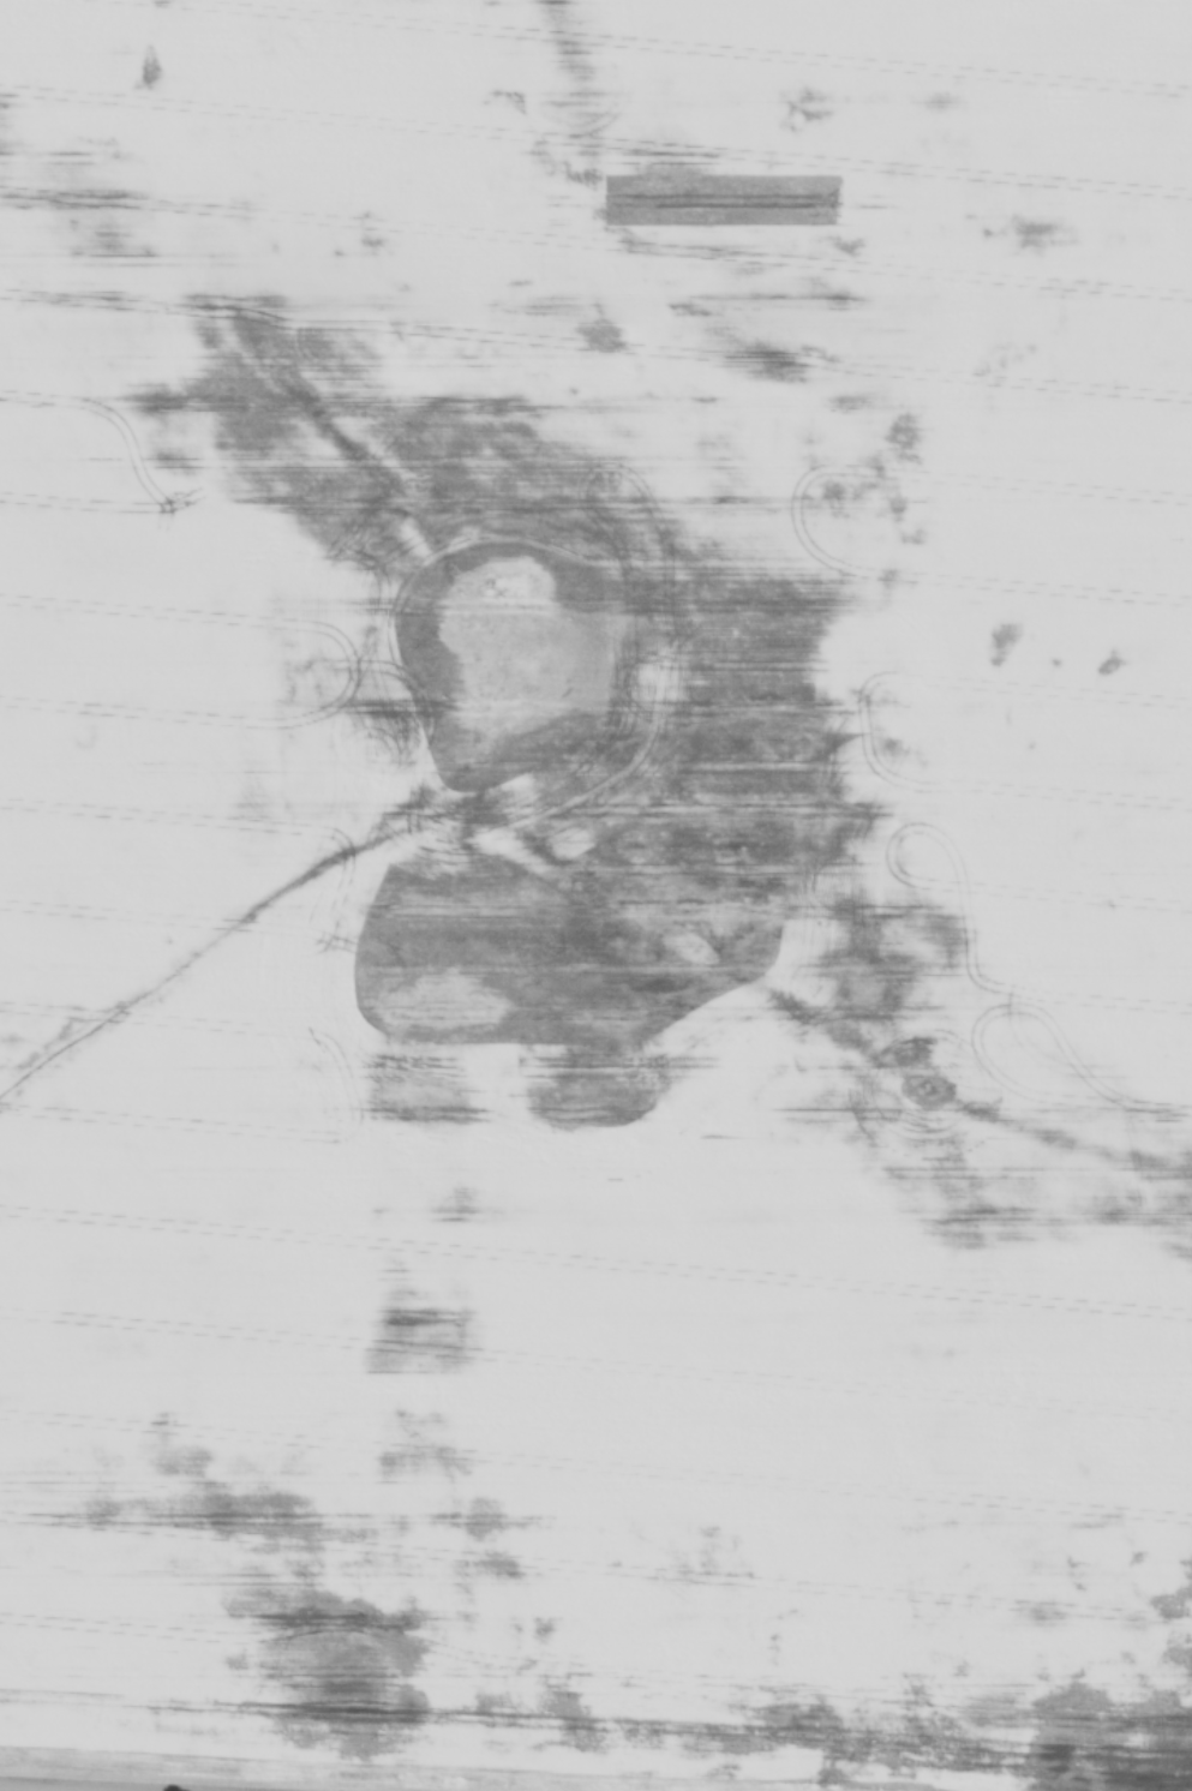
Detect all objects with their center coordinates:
road: (80, 1786)

